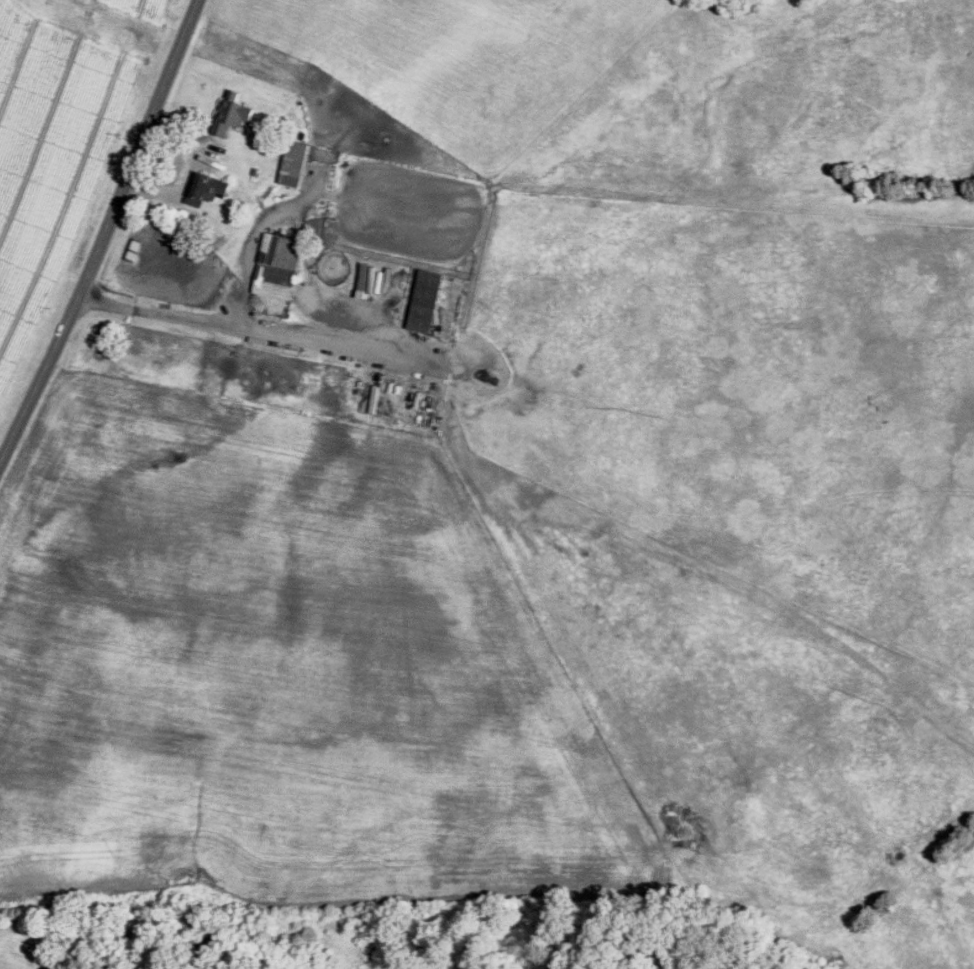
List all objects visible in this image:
building: (233, 112)
building: (297, 162)
building: (211, 185)
road: (257, 227)
road: (104, 232)
building: (280, 264)
building: (429, 299)
road: (247, 328)

